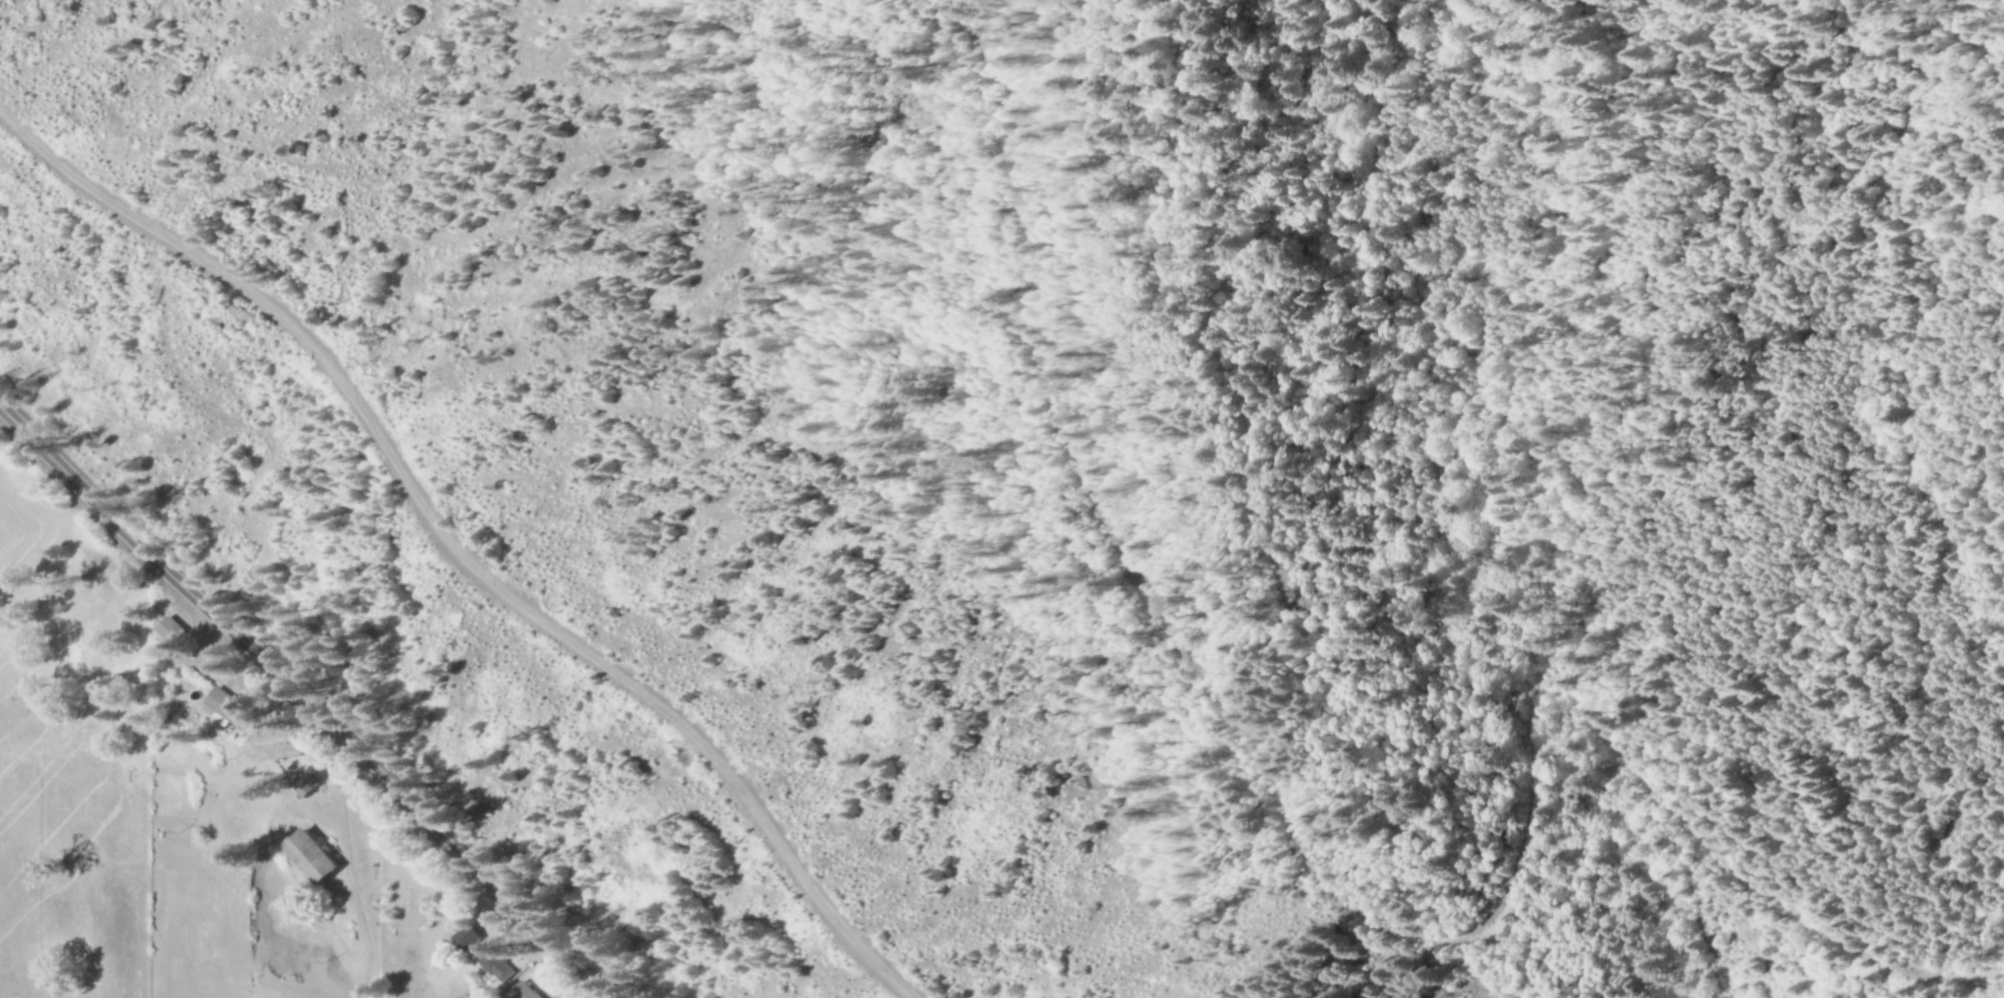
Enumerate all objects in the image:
road: (454, 555)
building: (167, 629)
road: (304, 703)
building: (226, 710)
building: (302, 786)
building: (308, 857)
building: (464, 939)
building: (492, 967)
building: (521, 991)

